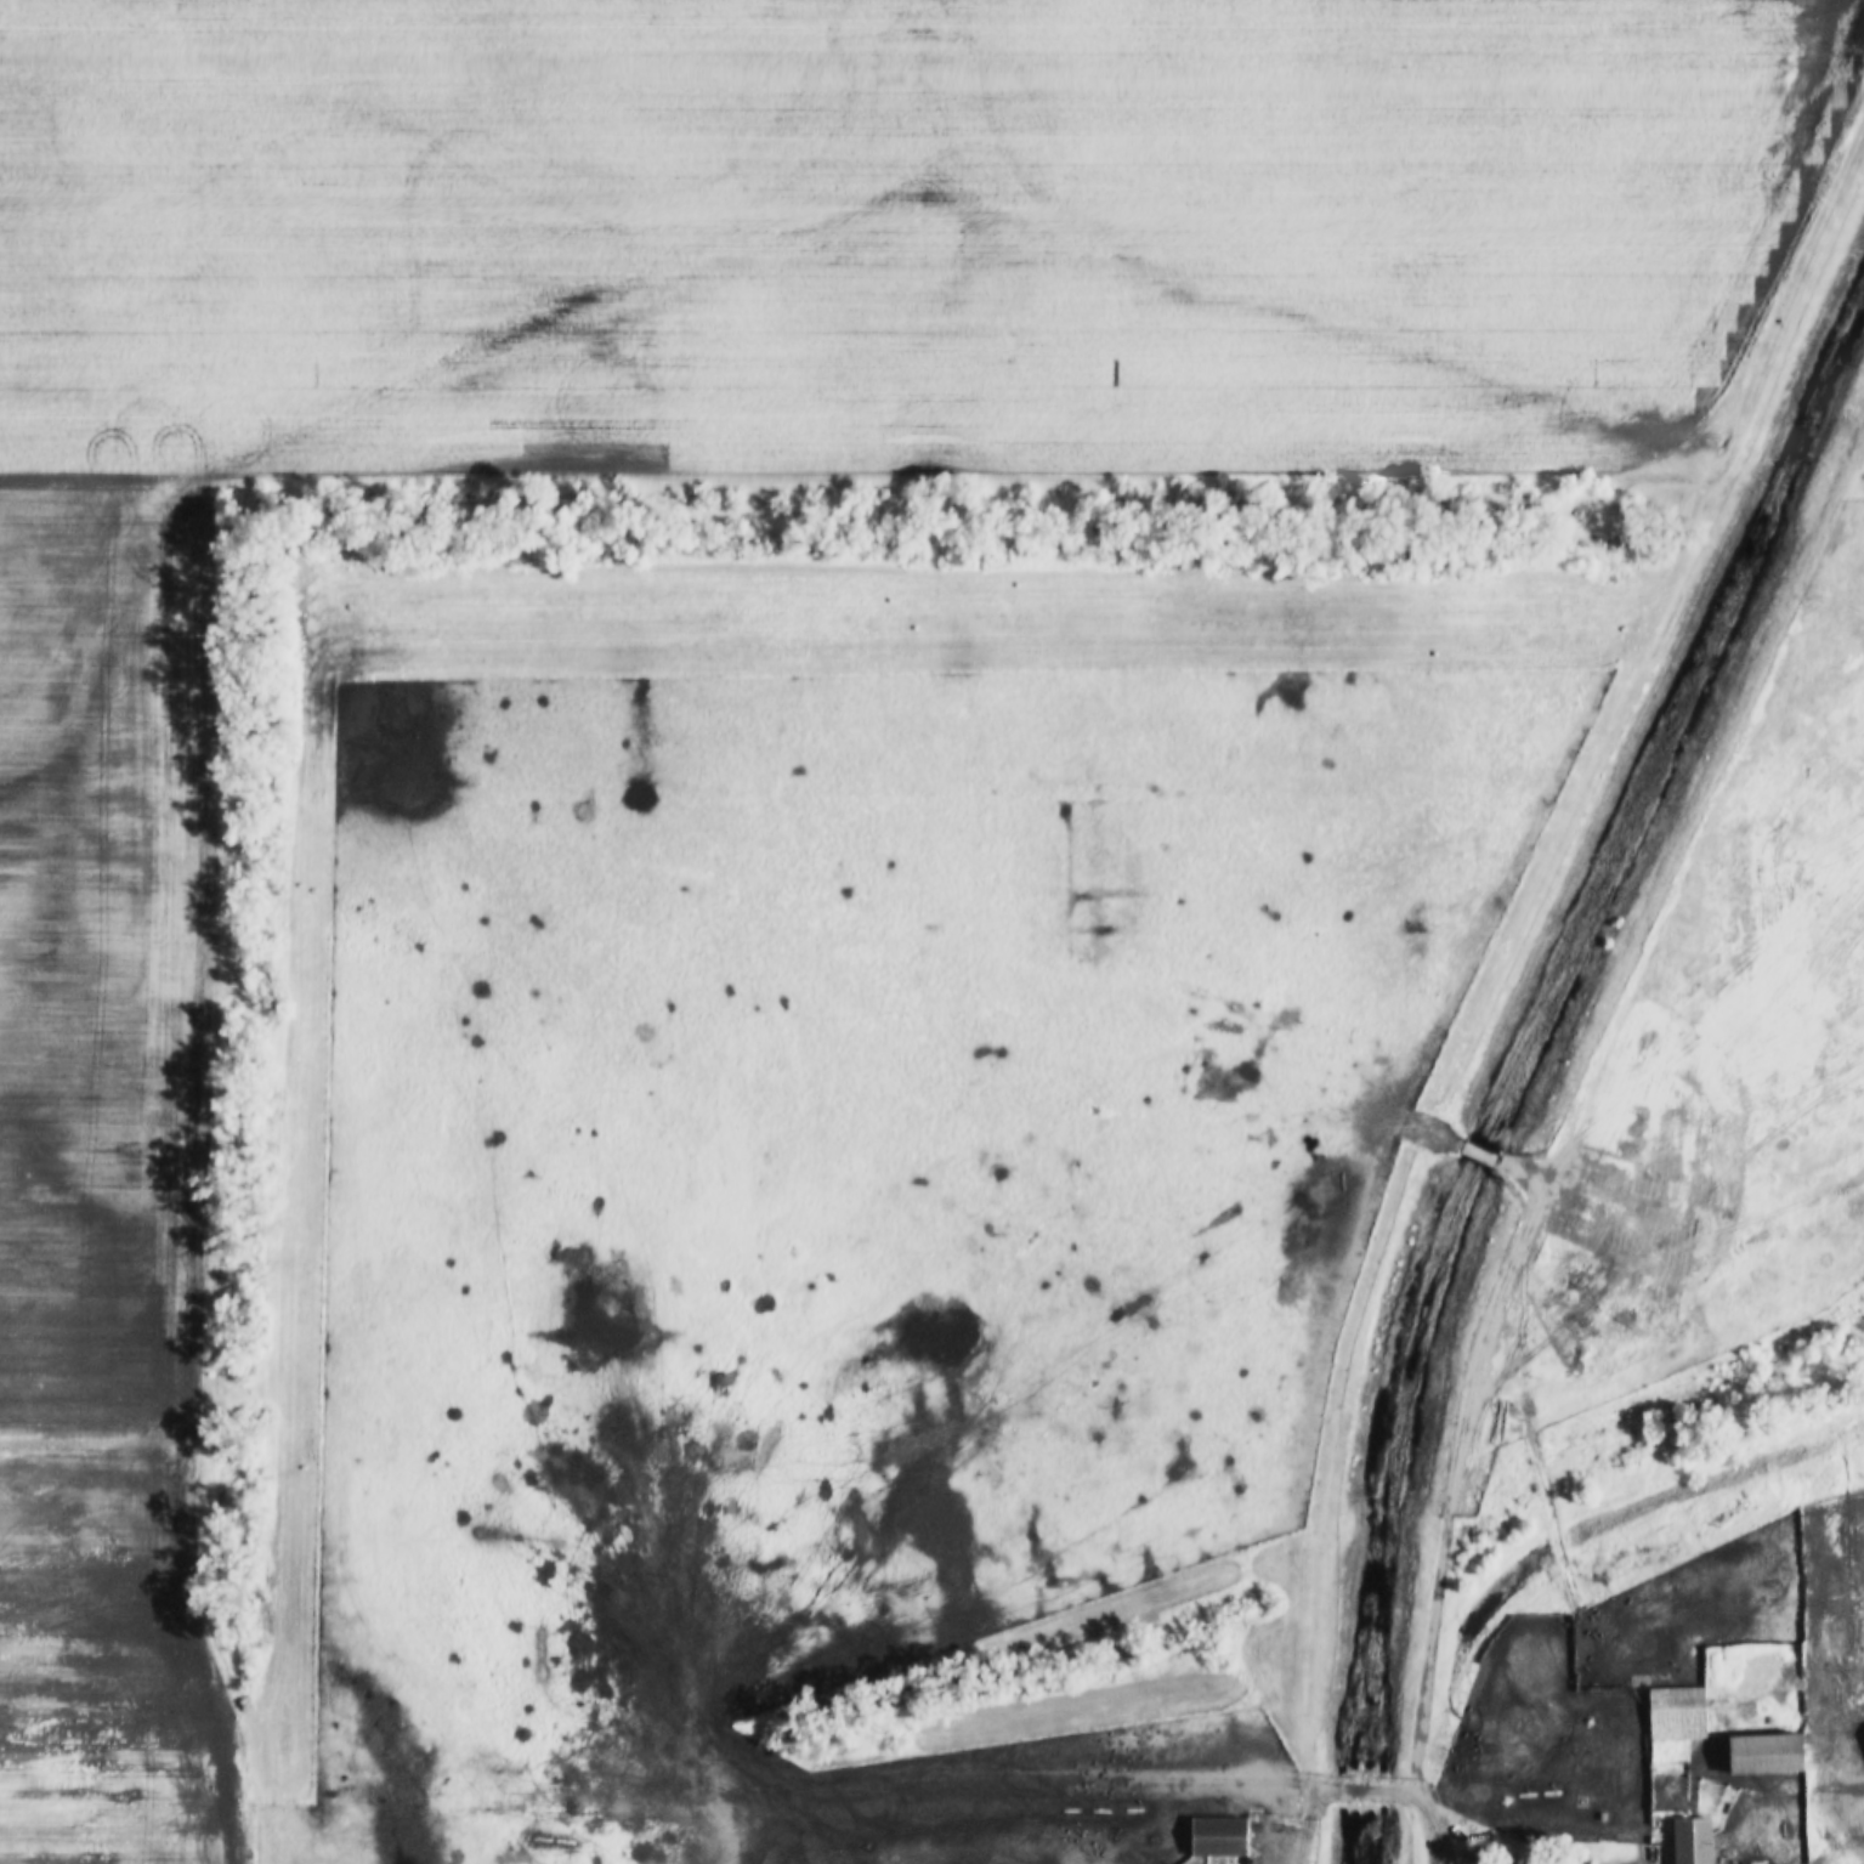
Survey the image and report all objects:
crop: (737, 366)
crop: (834, 1138)
crop: (111, 1662)
building: (1677, 1713)
building: (1766, 1753)
building: (1218, 1830)
building: (1693, 1841)

